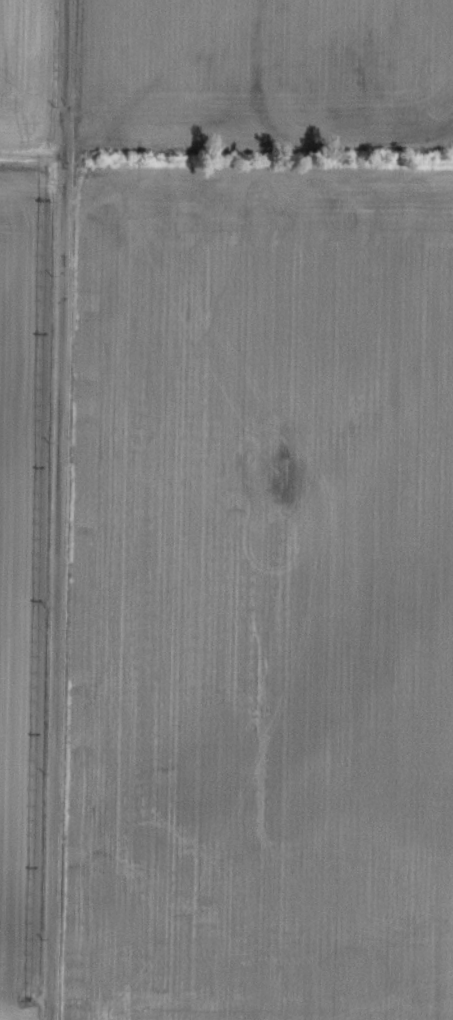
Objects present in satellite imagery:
road: (33, 154)
road: (59, 510)

